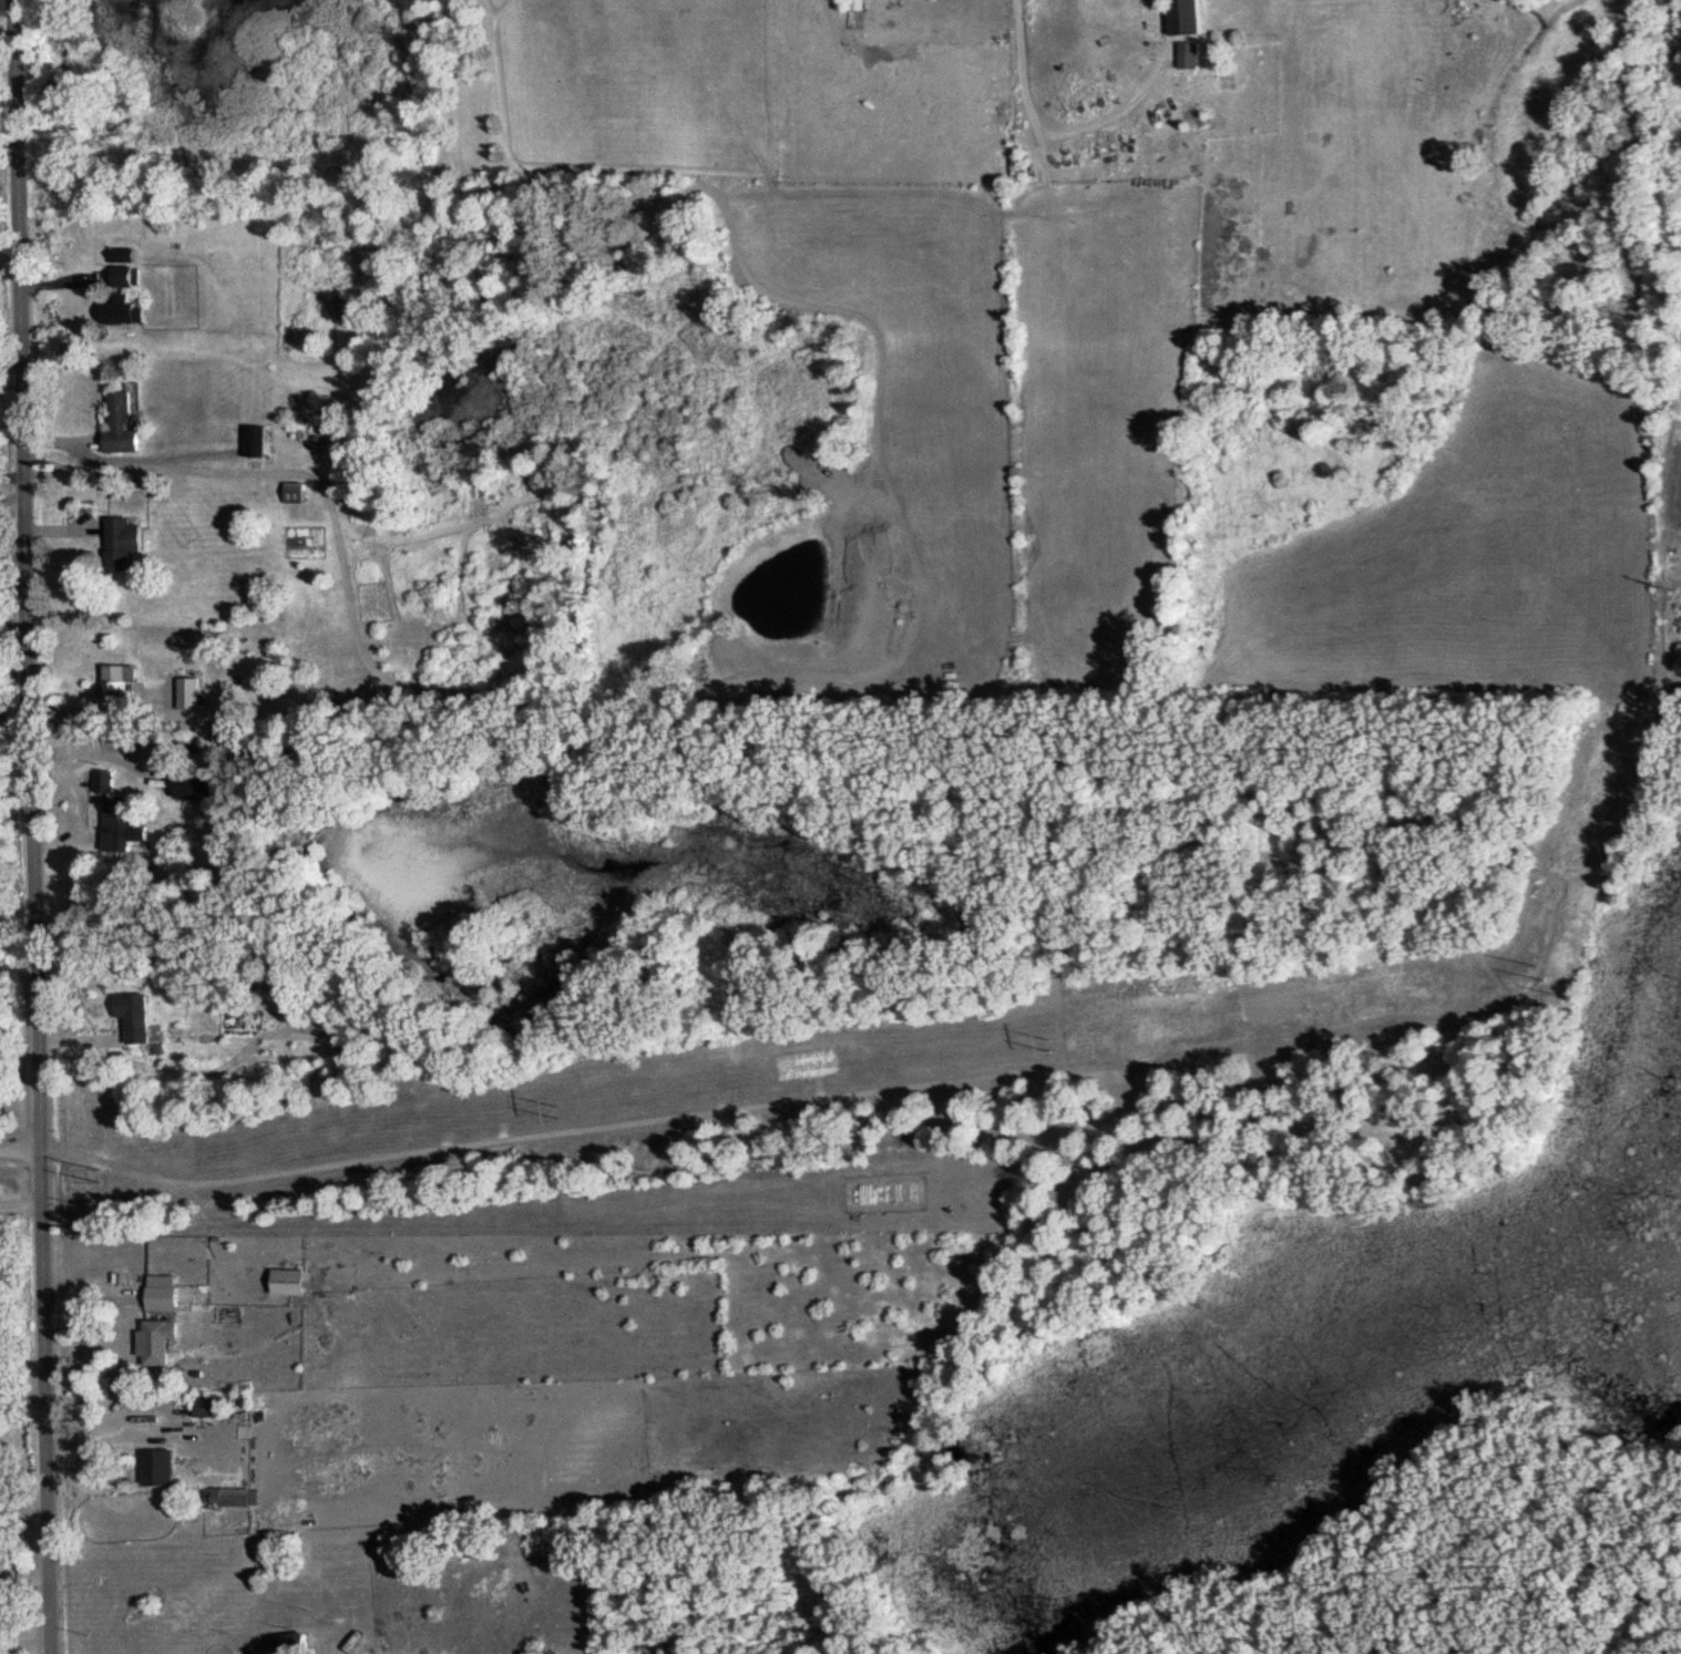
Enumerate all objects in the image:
building: (1185, 16)
building: (1188, 54)
building: (123, 309)
building: (119, 422)
building: (254, 439)
building: (293, 491)
power tower: (1664, 585)
building: (732, 650)
building: (192, 691)
building: (105, 780)
building: (197, 785)
road: (82, 800)
building: (123, 825)
road: (29, 826)
power tower: (1534, 977)
building: (133, 1015)
power tower: (1049, 1041)
power tower: (556, 1109)
road: (18, 1142)
power tower: (86, 1172)
road: (19, 1204)
building: (287, 1280)
building: (161, 1297)
building: (155, 1339)
building: (204, 1405)
building: (156, 1466)
building: (229, 1496)
building: (291, 1643)

